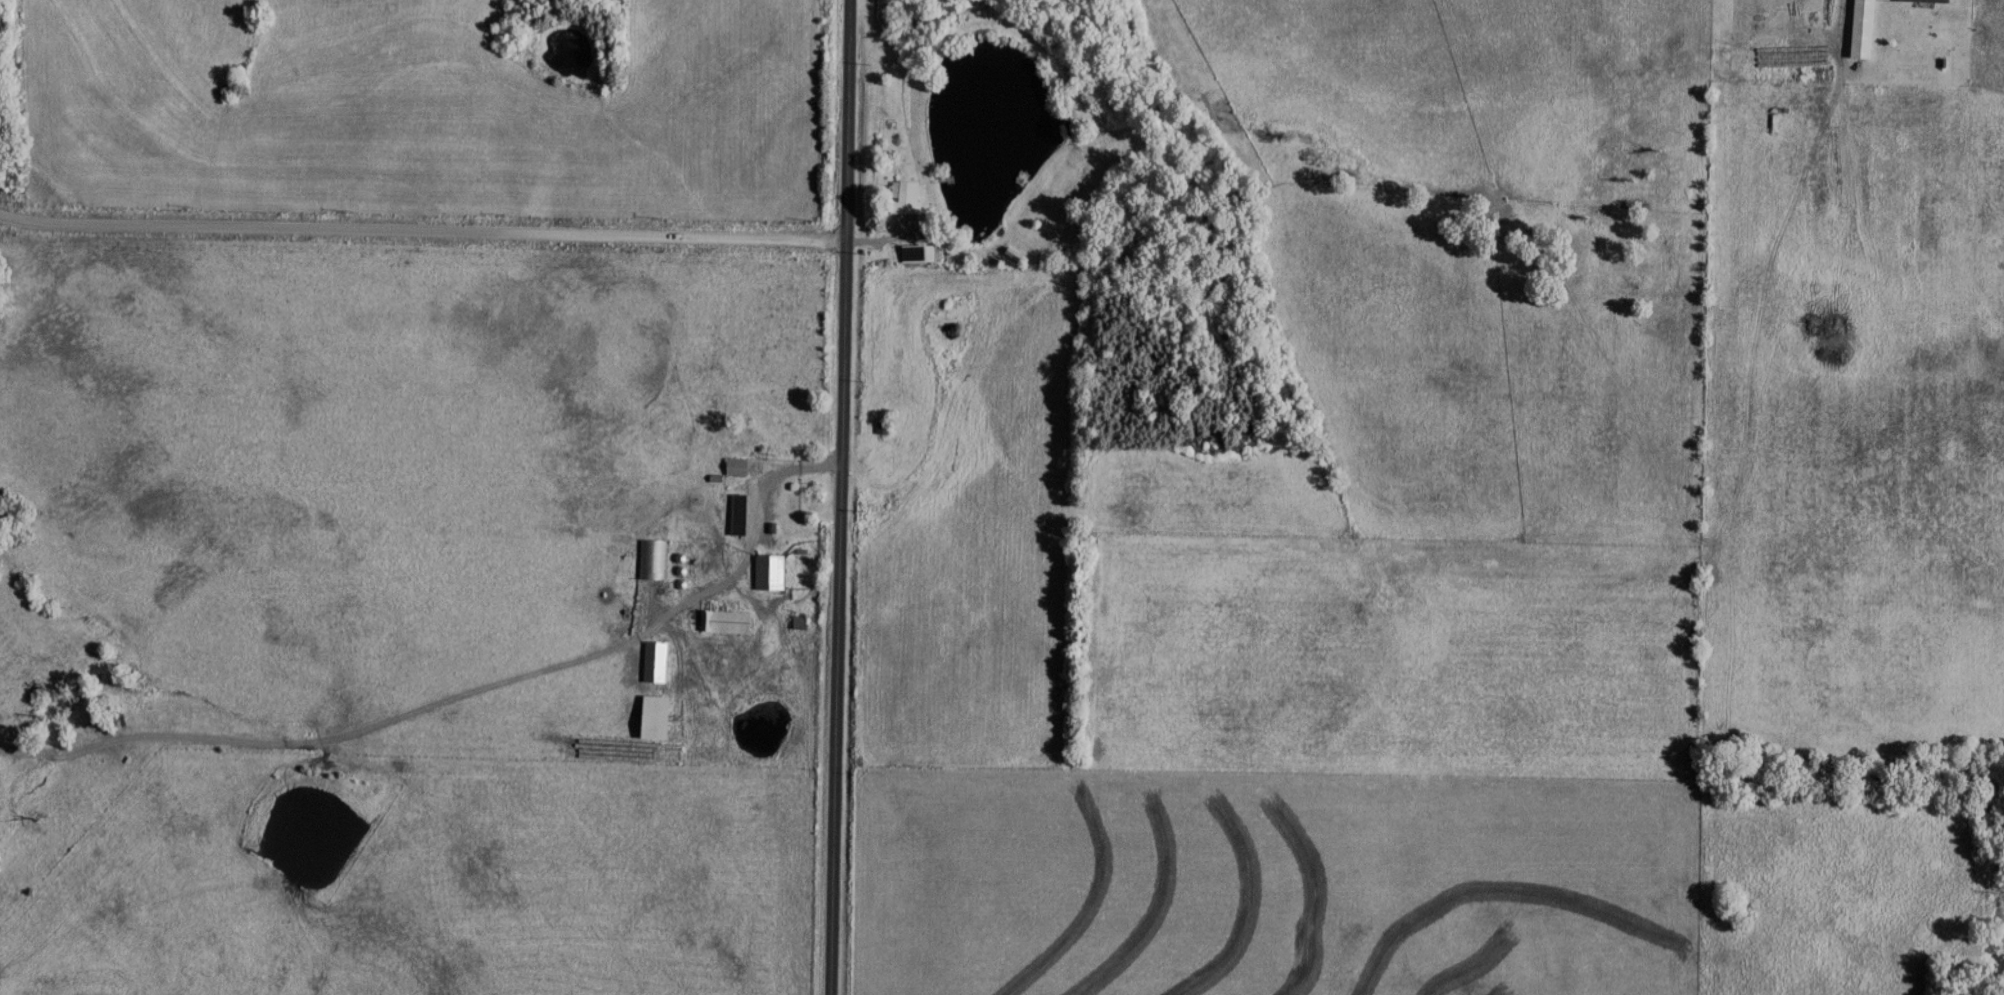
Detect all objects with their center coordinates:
building: (1920, 0)
building: (1799, 1)
building: (1859, 28)
building: (896, 196)
road: (422, 230)
building: (916, 252)
building: (882, 425)
building: (740, 465)
road: (844, 497)
building: (742, 512)
building: (654, 557)
building: (773, 570)
building: (730, 620)
building: (659, 660)
building: (663, 716)

